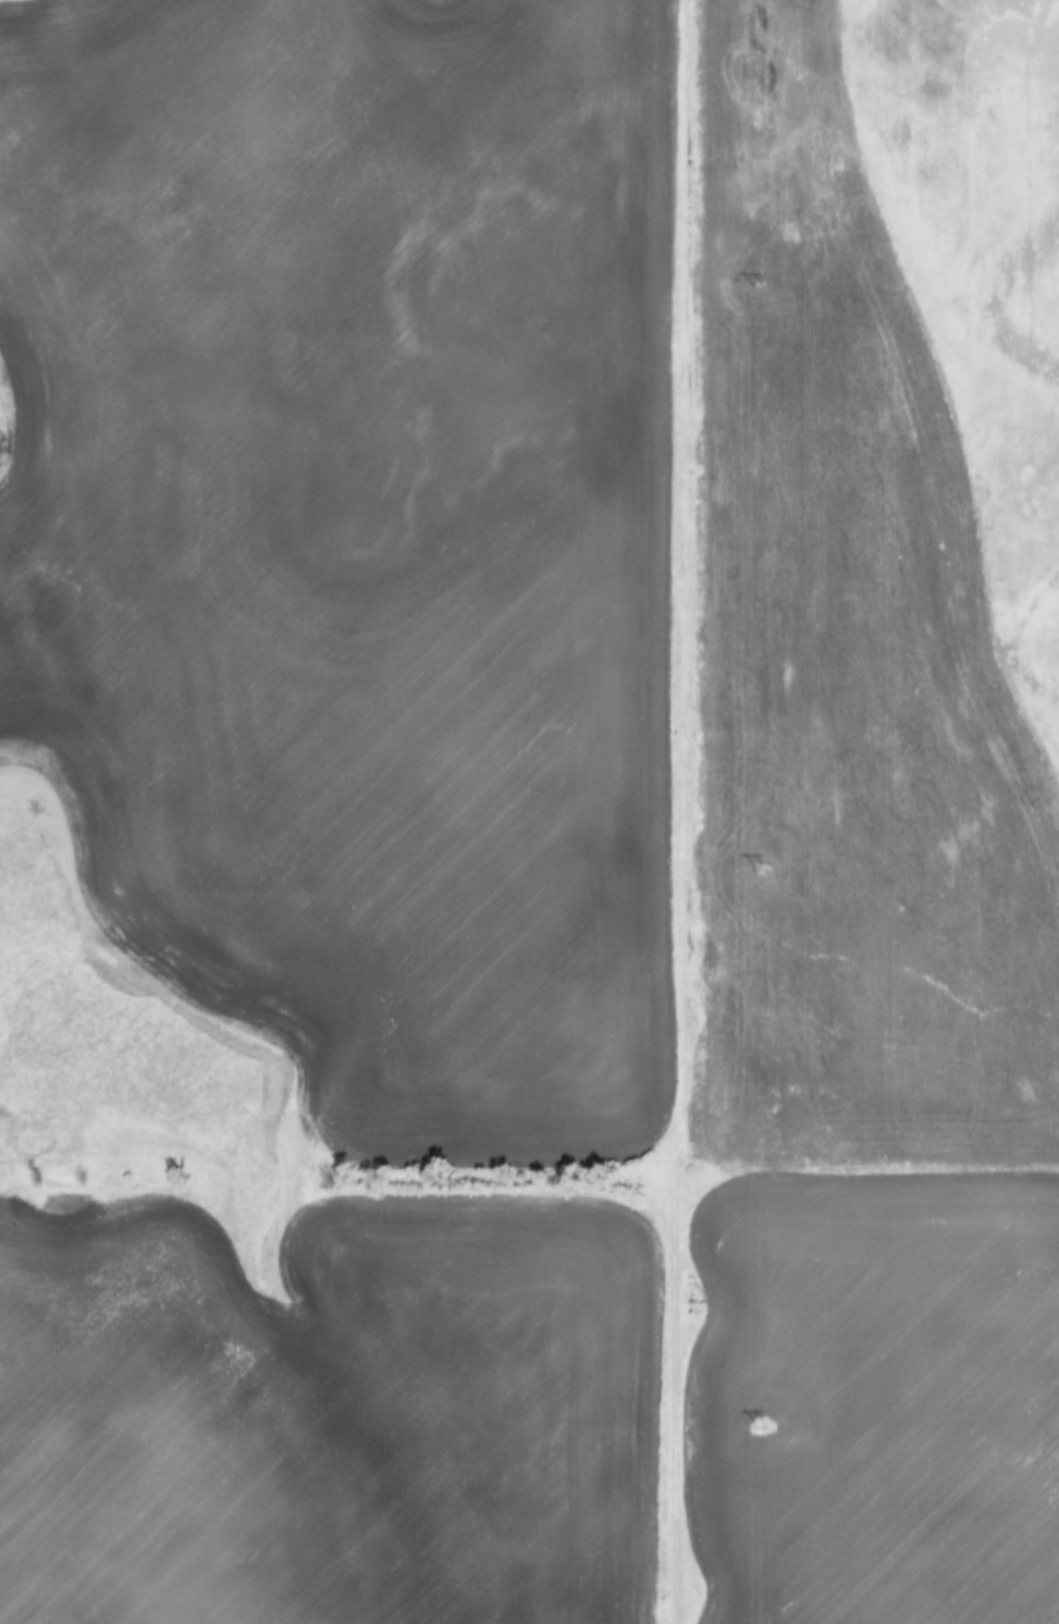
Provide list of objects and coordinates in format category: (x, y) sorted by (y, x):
power tower: (755, 288)
road: (681, 811)
power tower: (759, 870)
power tower: (759, 1427)

